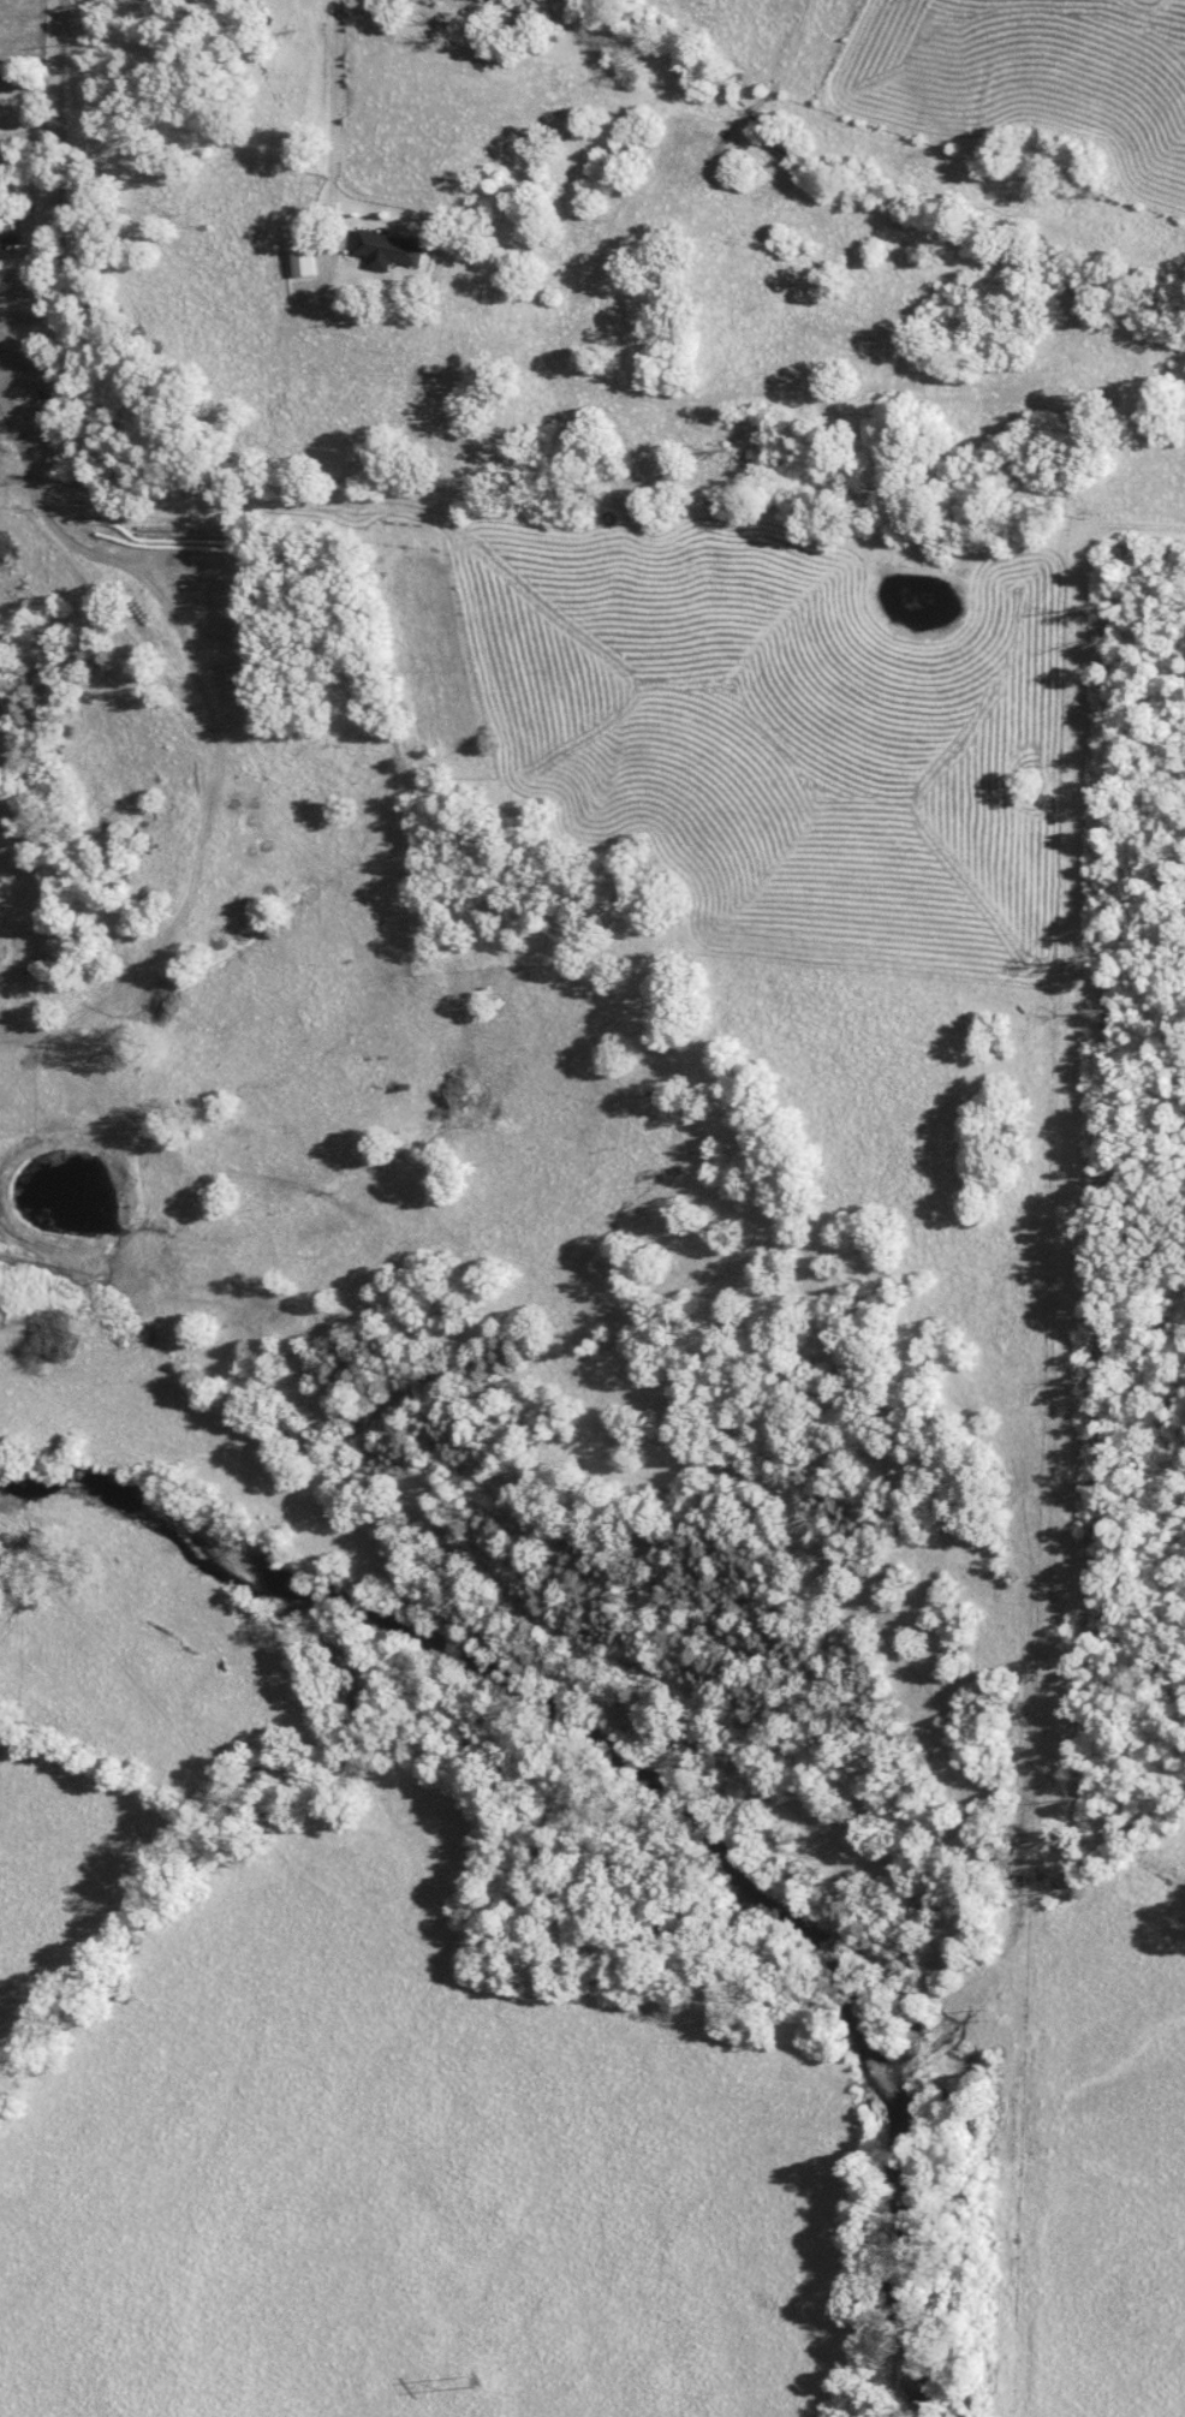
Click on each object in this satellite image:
road: (315, 91)
road: (32, 96)
building: (389, 246)
building: (14, 280)
building: (22, 351)

